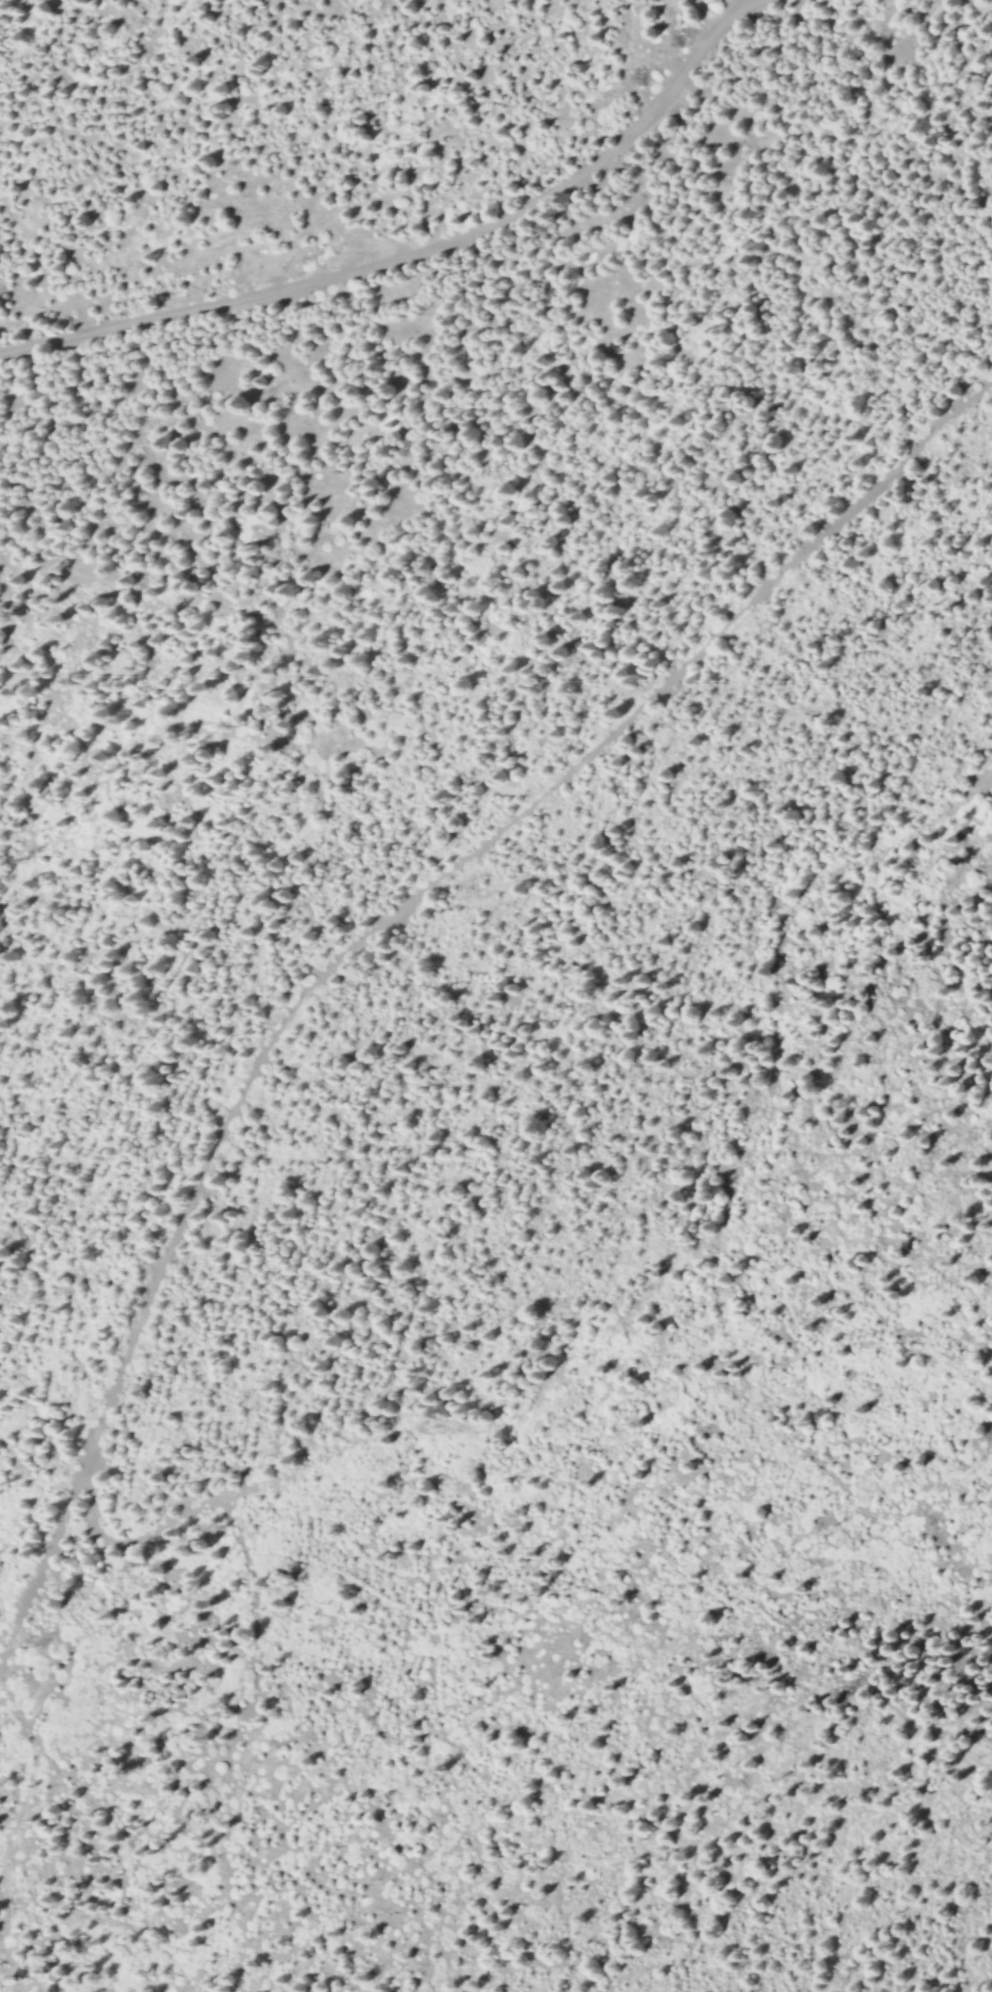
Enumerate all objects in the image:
road: (413, 253)
road: (452, 290)
road: (367, 924)
road: (647, 1290)

